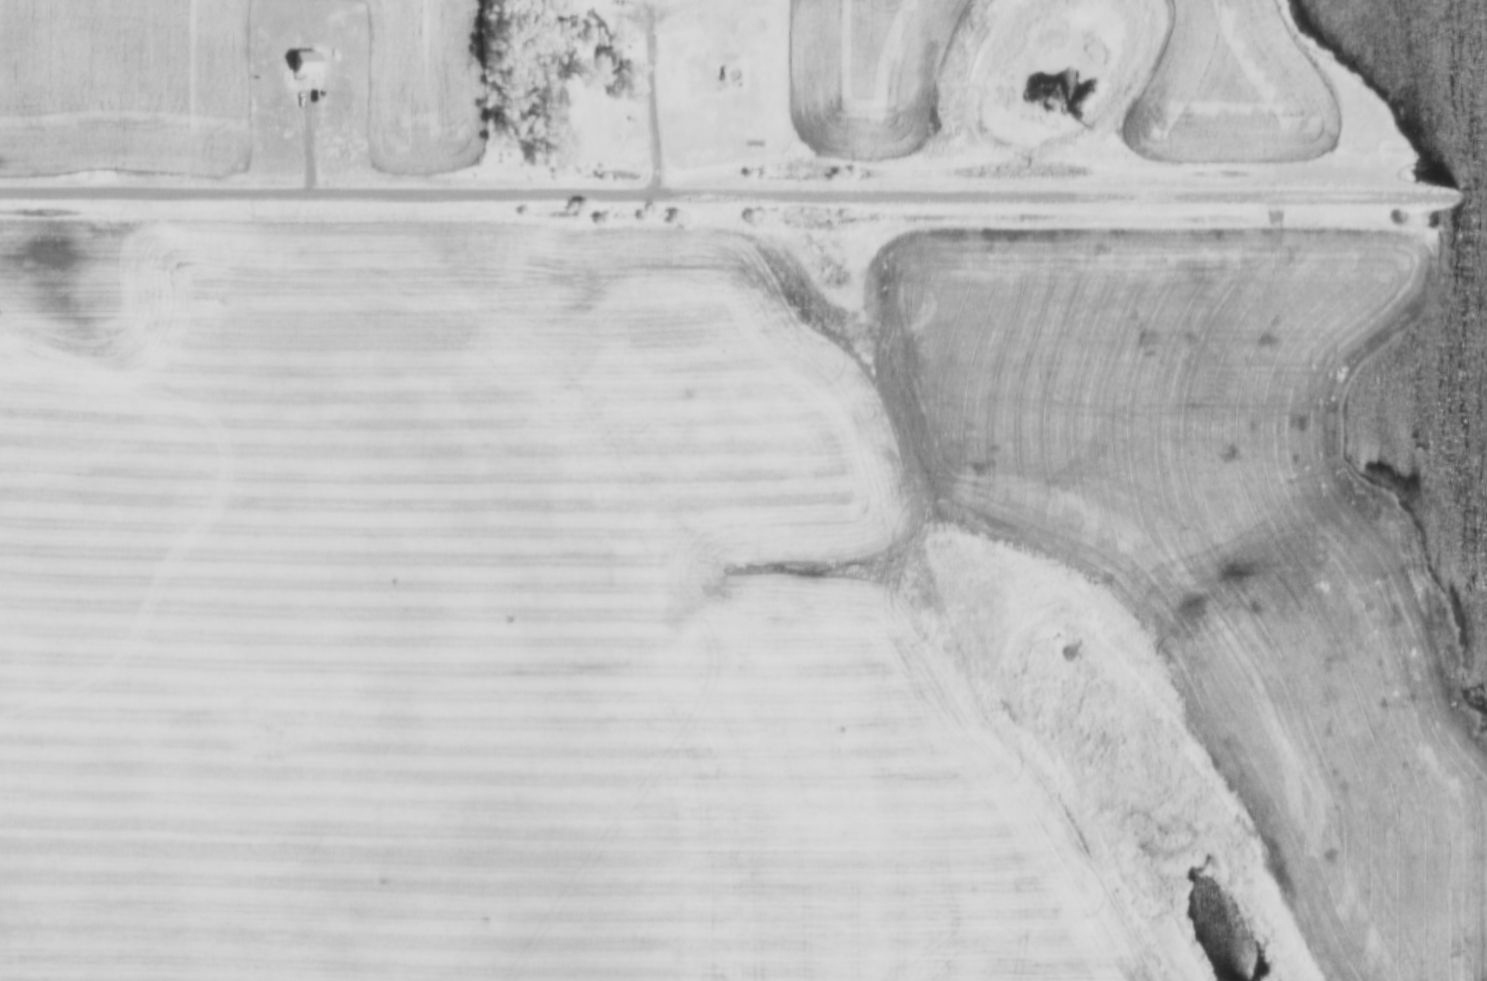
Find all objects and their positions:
building: (608, 62)
building: (305, 63)
road: (652, 97)
road: (743, 197)

